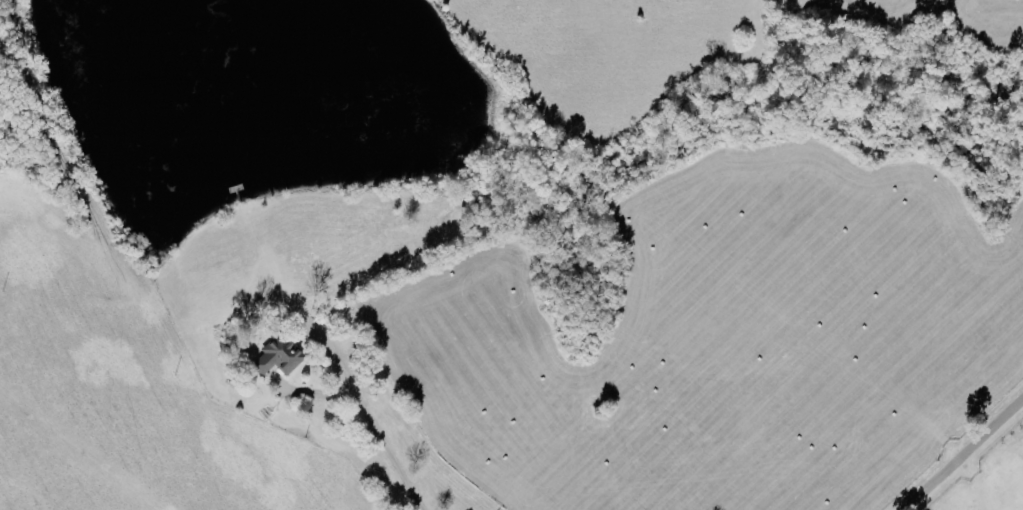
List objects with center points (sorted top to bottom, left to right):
building: (276, 356)
road: (371, 421)
road: (962, 453)

